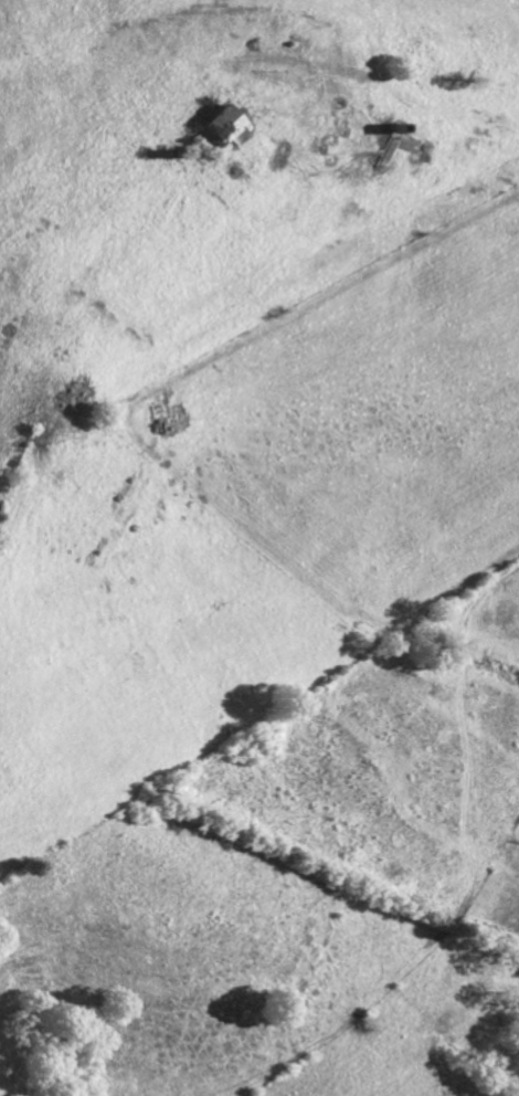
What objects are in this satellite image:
building: (219, 125)

